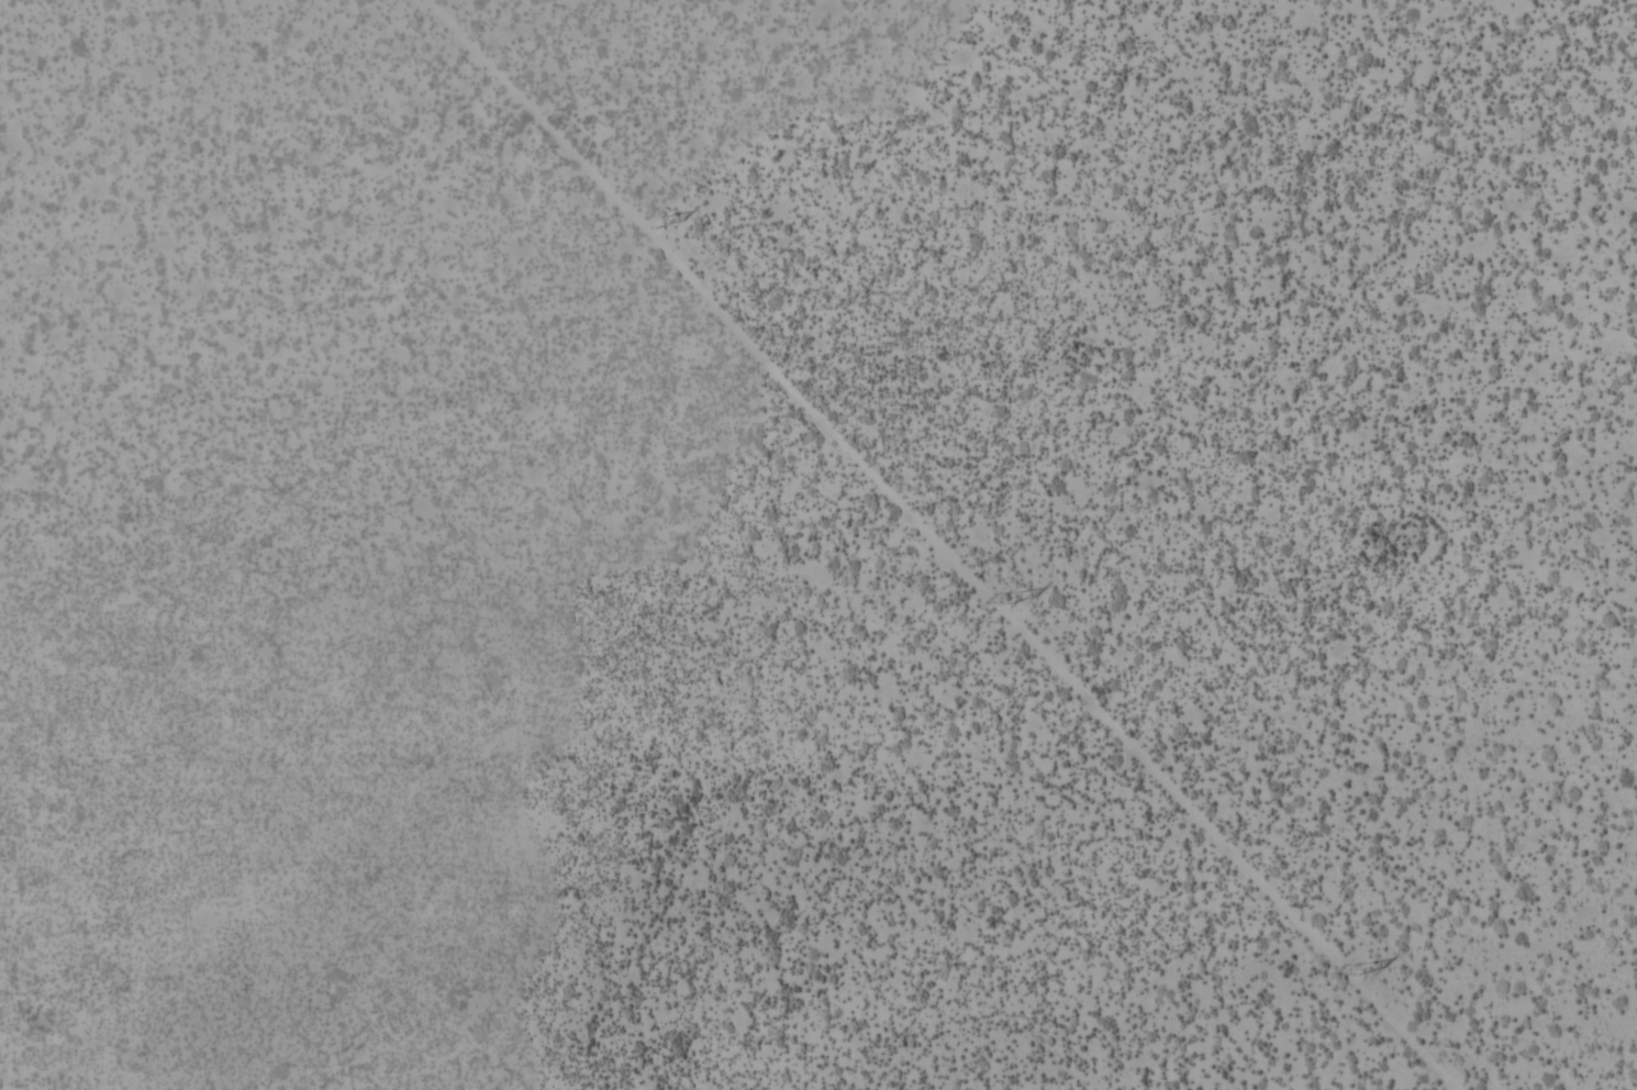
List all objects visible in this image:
power tower: (659, 218)
road: (931, 545)
power tower: (1013, 597)
power tower: (1363, 966)

